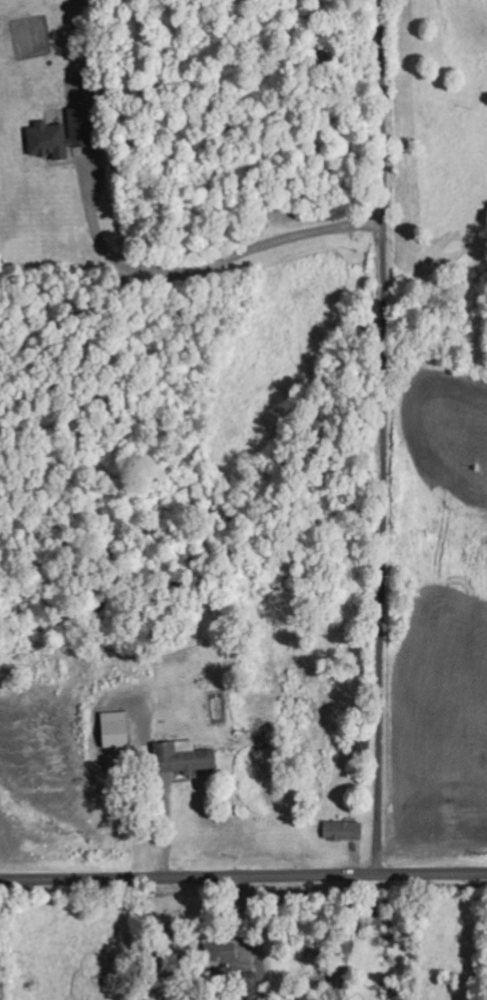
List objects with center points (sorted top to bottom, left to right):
building: (61, 135)
road: (384, 436)
building: (117, 730)
building: (185, 757)
building: (345, 831)
road: (243, 874)
building: (221, 954)

